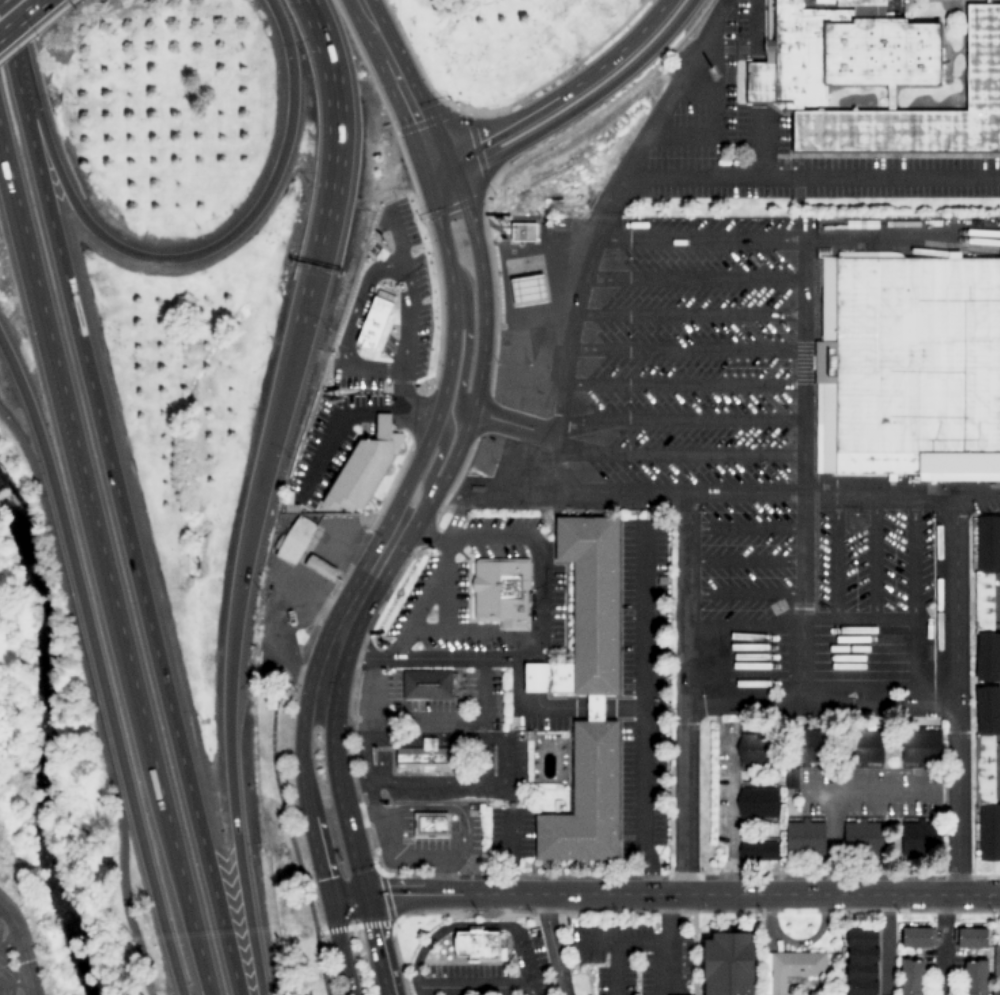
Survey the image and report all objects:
road: (3, 2)
road: (309, 6)
road: (21, 17)
building: (875, 78)
road: (401, 89)
road: (561, 94)
road: (580, 106)
road: (611, 208)
building: (523, 231)
road: (703, 238)
road: (169, 259)
road: (697, 278)
building: (528, 290)
gas station: (528, 290)
road: (691, 314)
building: (374, 321)
road: (47, 341)
road: (687, 351)
road: (462, 363)
building: (908, 366)
road: (685, 385)
road: (682, 419)
road: (512, 428)
road: (680, 453)
road: (435, 458)
building: (363, 468)
parking lot: (752, 471)
road: (806, 471)
road: (258, 492)
road: (881, 493)
road: (978, 494)
road: (662, 495)
road: (119, 504)
building: (291, 508)
road: (406, 536)
building: (294, 540)
road: (373, 548)
road: (105, 562)
building: (320, 568)
gas station: (320, 568)
building: (502, 592)
road: (749, 596)
building: (291, 618)
road: (98, 664)
building: (427, 684)
building: (986, 688)
building: (586, 693)
road: (958, 694)
road: (691, 695)
road: (91, 699)
road: (825, 703)
building: (528, 735)
building: (861, 746)
river: (34, 748)
building: (919, 748)
building: (752, 749)
building: (805, 755)
building: (424, 757)
building: (756, 803)
building: (511, 804)
building: (481, 810)
building: (429, 825)
building: (861, 837)
building: (913, 839)
building: (763, 851)
road: (294, 852)
road: (326, 857)
road: (683, 895)
traffic signals: (368, 898)
road: (349, 904)
road: (324, 916)
road: (471, 926)
building: (916, 937)
building: (969, 939)
road: (9, 943)
building: (478, 945)
road: (552, 945)
road: (379, 946)
road: (20, 948)
road: (343, 954)
parking lot: (11, 961)
building: (997, 961)
building: (861, 962)
building: (727, 964)
building: (910, 977)
building: (974, 978)
road: (13, 981)
road: (472, 988)

